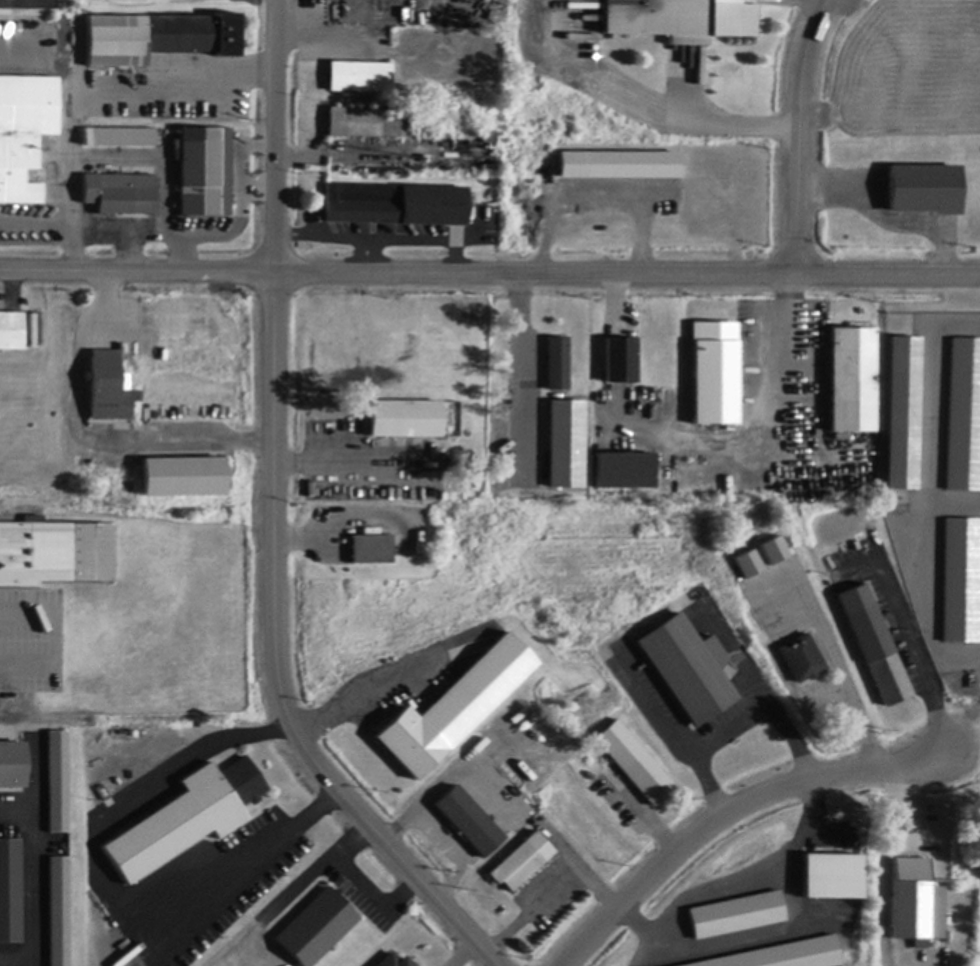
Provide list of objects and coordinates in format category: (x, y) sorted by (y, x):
building: (679, 20)
building: (158, 39)
building: (359, 78)
road: (114, 87)
road: (718, 122)
building: (363, 123)
building: (24, 134)
road: (800, 135)
building: (124, 138)
road: (153, 160)
building: (617, 164)
road: (236, 171)
building: (205, 173)
road: (257, 186)
building: (923, 190)
building: (120, 194)
building: (395, 206)
road: (60, 221)
road: (122, 223)
road: (887, 223)
road: (202, 234)
road: (182, 253)
road: (489, 273)
building: (12, 332)
building: (620, 362)
building: (557, 365)
building: (714, 374)
building: (851, 380)
building: (110, 389)
building: (901, 414)
building: (446, 415)
building: (963, 418)
building: (404, 420)
road: (774, 437)
road: (89, 439)
building: (564, 443)
building: (624, 472)
building: (182, 476)
road: (928, 485)
road: (954, 503)
road: (274, 523)
building: (771, 550)
building: (371, 551)
building: (55, 554)
building: (745, 563)
building: (959, 580)
road: (911, 636)
building: (873, 646)
building: (801, 659)
road: (837, 668)
building: (688, 669)
building: (454, 709)
road: (737, 728)
building: (634, 764)
building: (12, 766)
building: (58, 783)
road: (130, 802)
road: (727, 813)
building: (187, 819)
building: (467, 823)
road: (439, 841)
road: (258, 850)
building: (521, 863)
building: (831, 877)
building: (10, 892)
road: (555, 892)
building: (915, 905)
building: (59, 912)
building: (734, 914)
building: (317, 928)
road: (463, 952)
building: (776, 956)
building: (394, 961)

